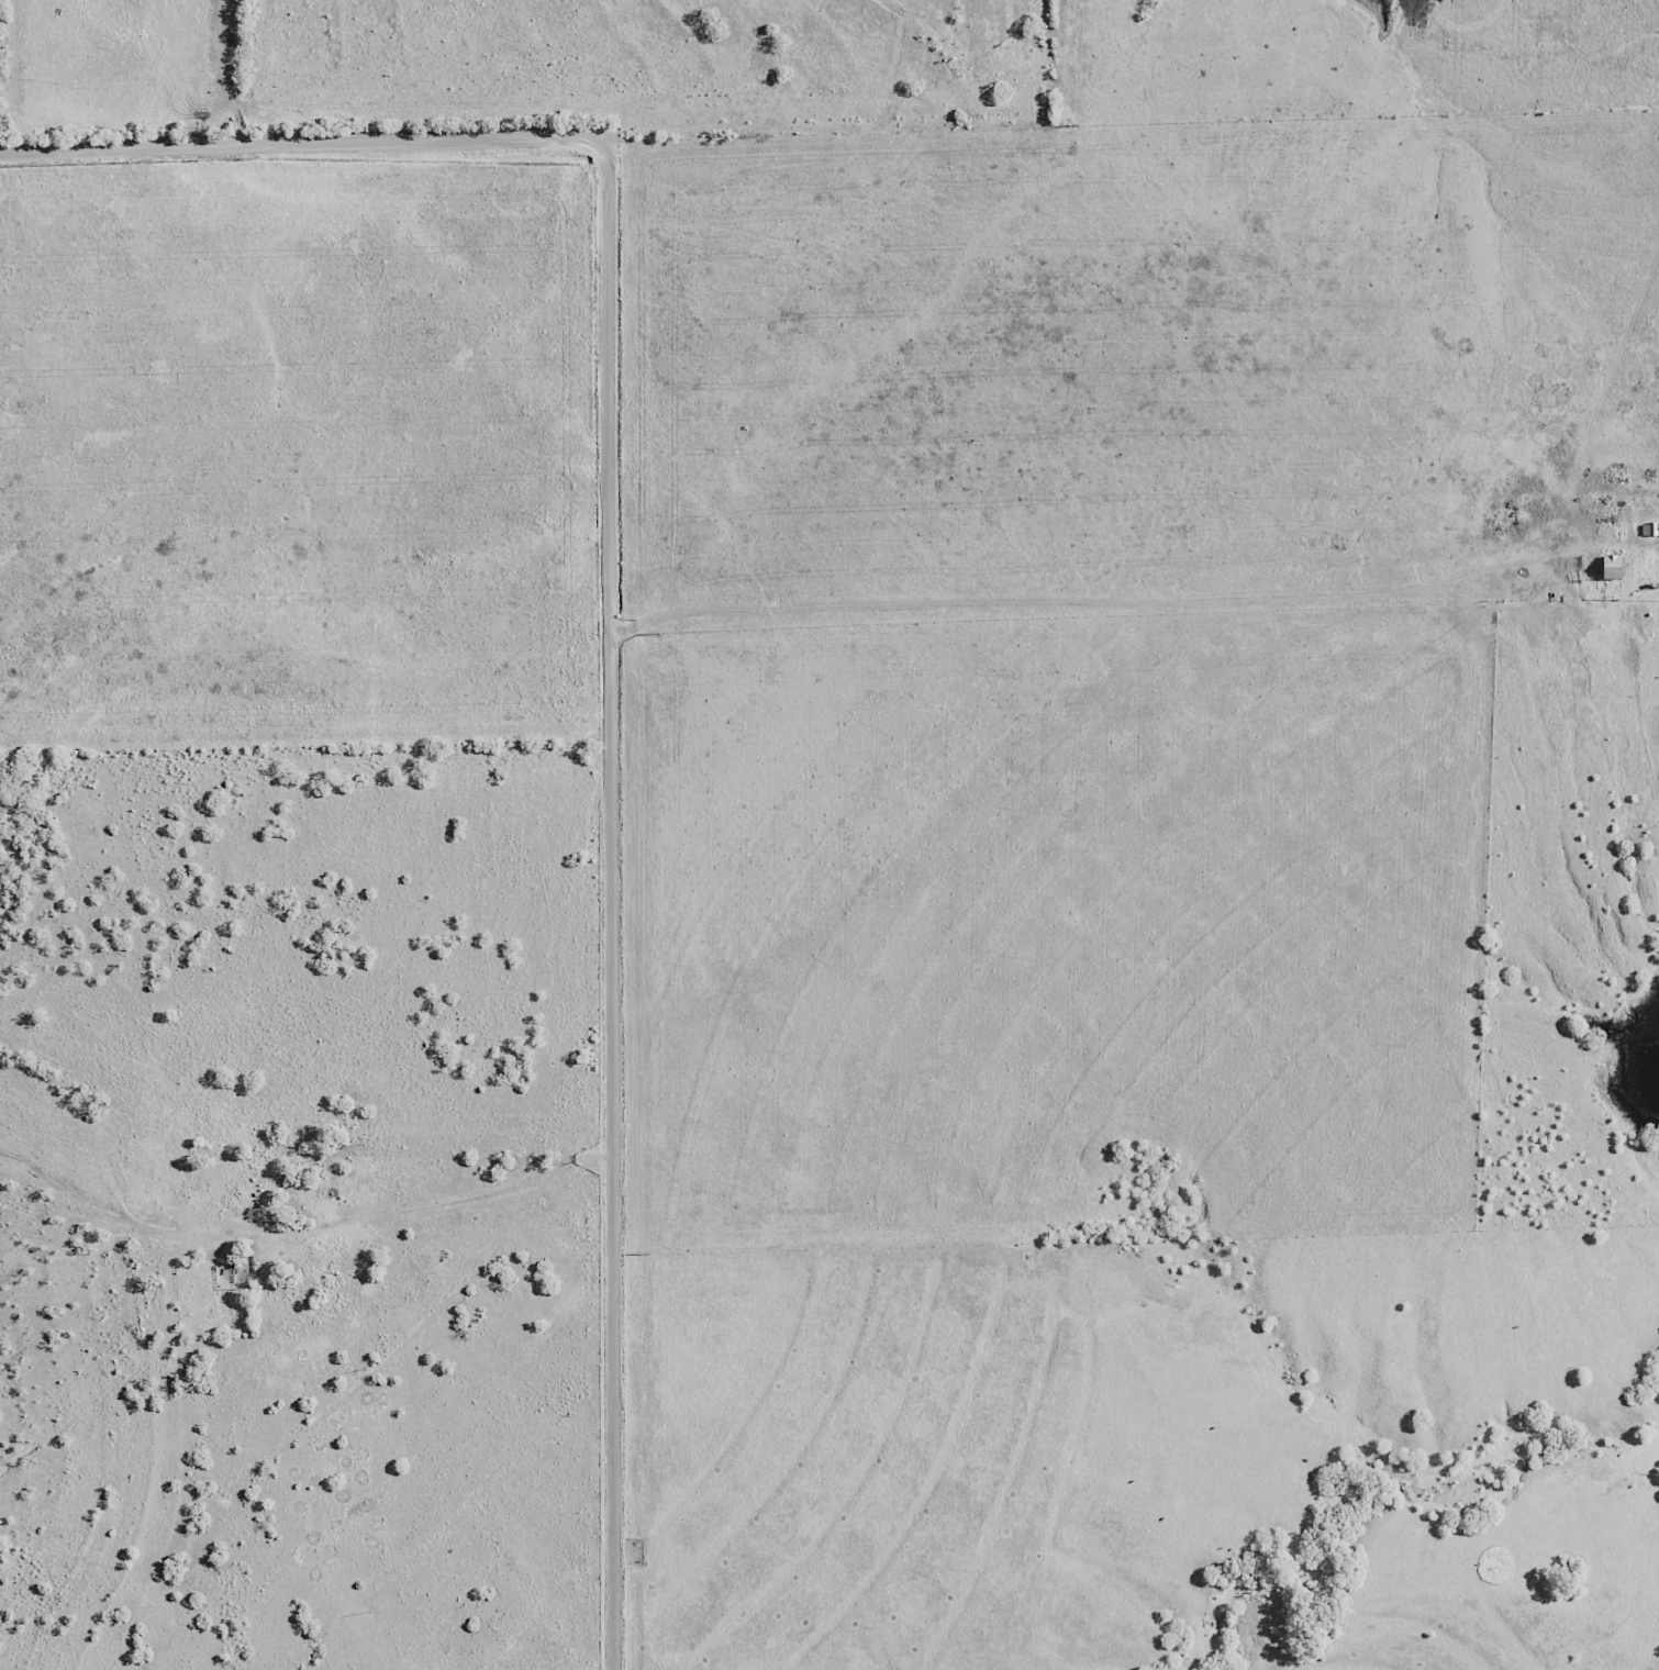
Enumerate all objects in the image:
road: (611, 606)

